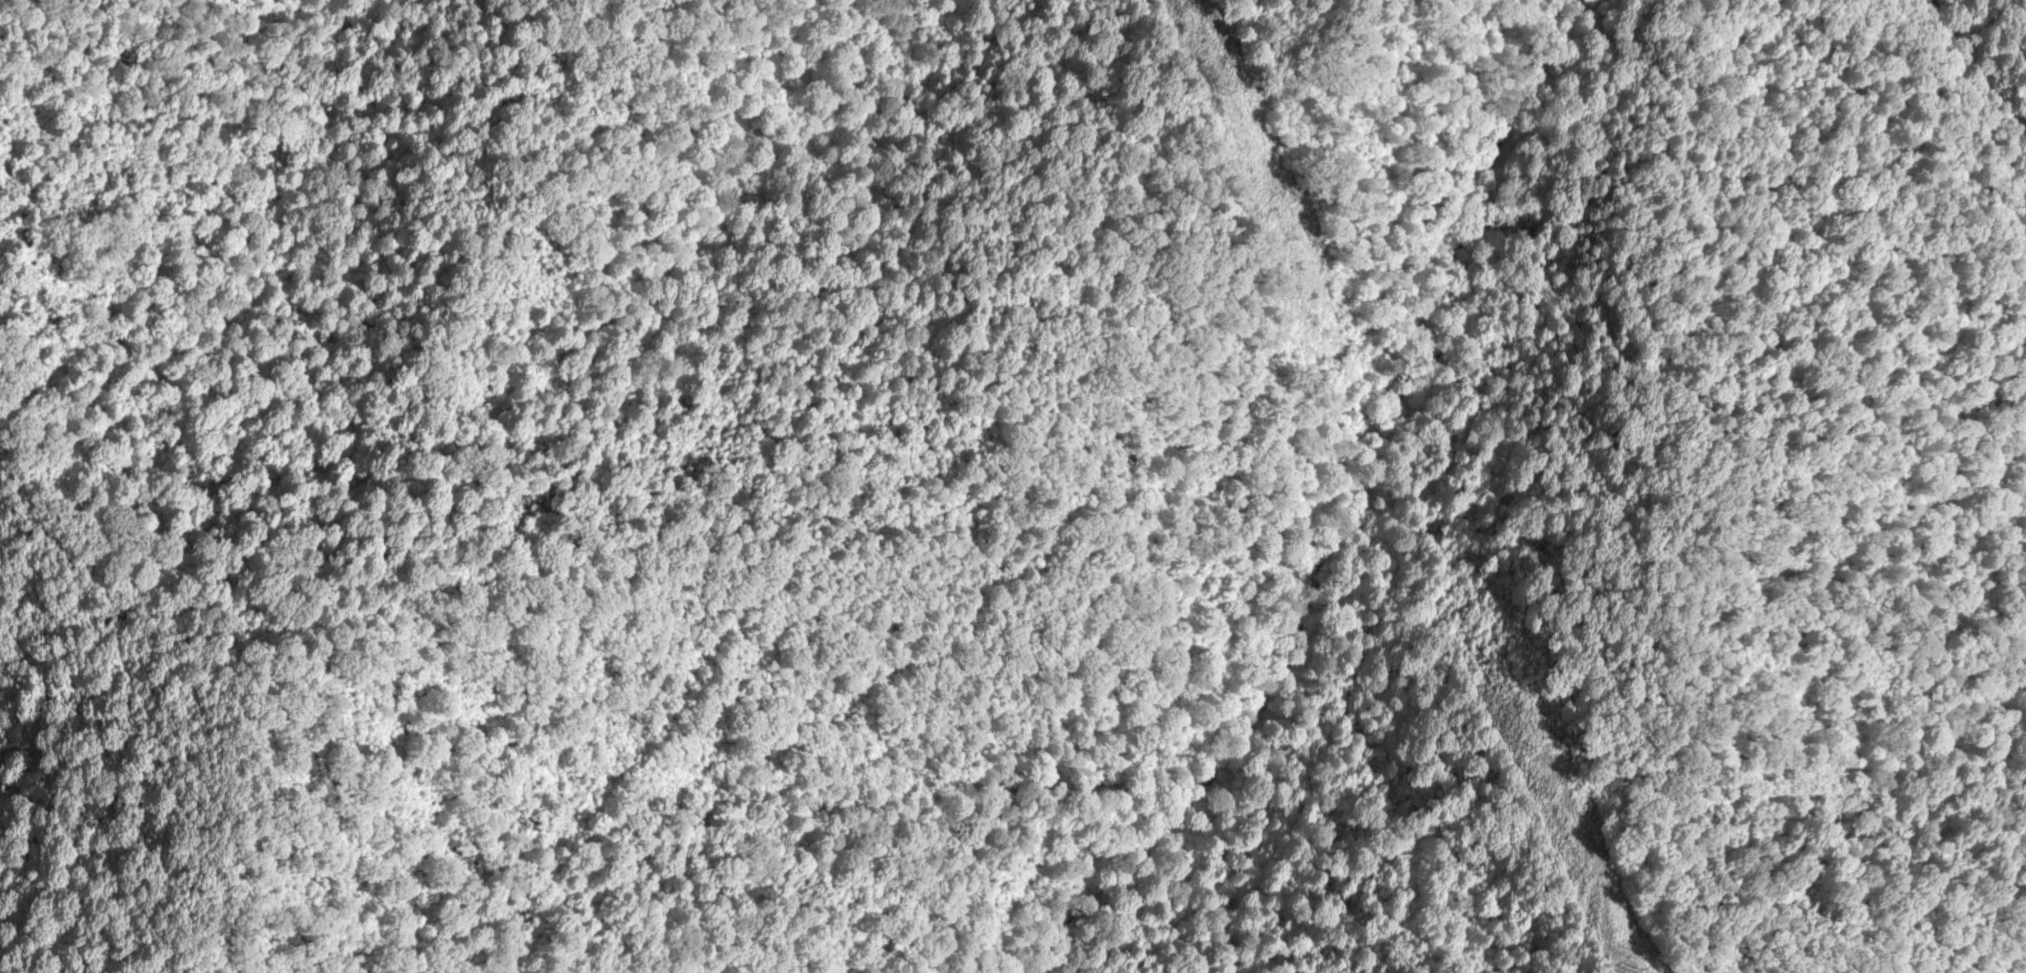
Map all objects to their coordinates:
road: (1989, 51)

